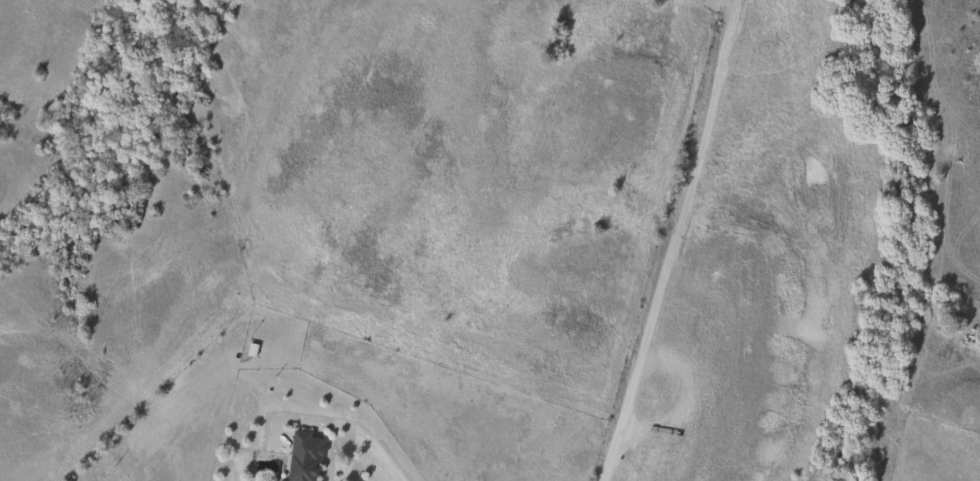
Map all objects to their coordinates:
road: (672, 241)
road: (356, 437)
building: (302, 457)

